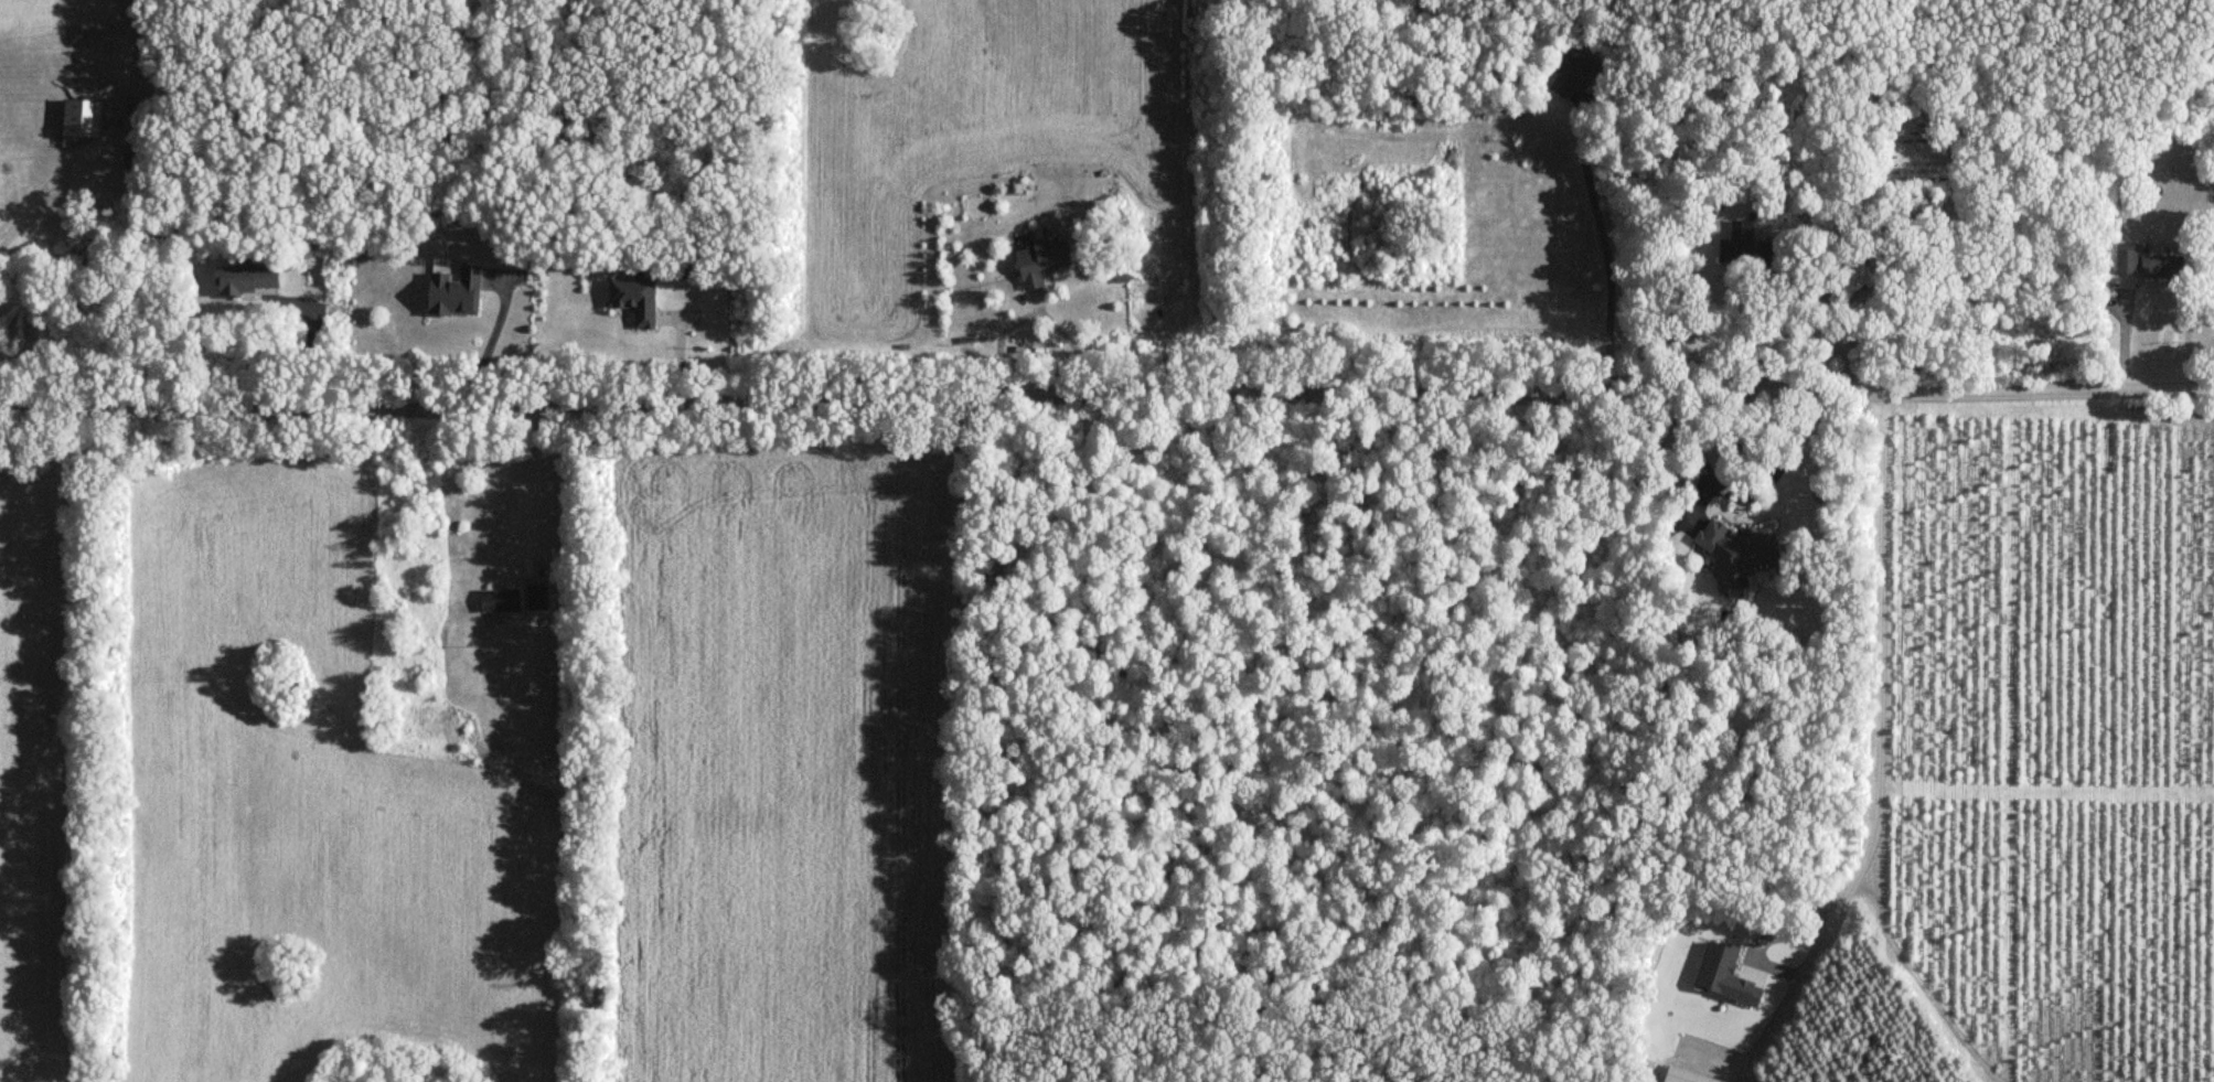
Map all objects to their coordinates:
building: (1572, 73)
building: (78, 119)
road: (51, 195)
building: (1743, 244)
building: (1037, 260)
road: (1609, 261)
building: (2143, 261)
building: (687, 268)
building: (1847, 279)
building: (243, 281)
building: (450, 290)
building: (632, 301)
road: (1034, 321)
road: (1820, 335)
road: (309, 344)
road: (486, 346)
road: (1106, 401)
road: (534, 474)
road: (1739, 496)
building: (1737, 556)
building: (534, 597)
building: (496, 599)
road: (1874, 758)

